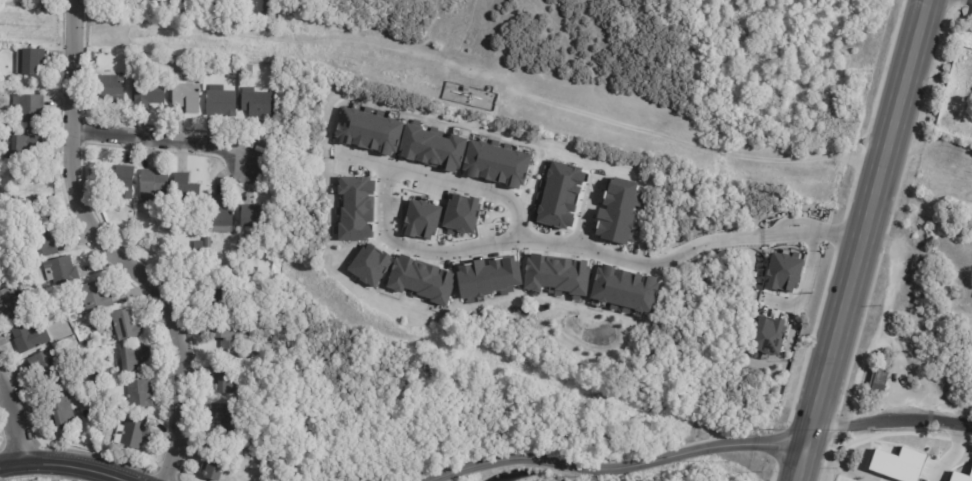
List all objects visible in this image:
building: (38, 6)
building: (228, 7)
building: (55, 8)
building: (131, 9)
building: (269, 9)
building: (172, 14)
building: (210, 16)
road: (464, 31)
road: (579, 55)
building: (29, 61)
building: (247, 70)
building: (232, 76)
building: (11, 79)
building: (110, 89)
building: (148, 91)
building: (186, 97)
building: (220, 101)
building: (257, 103)
building: (29, 107)
road: (605, 119)
building: (368, 130)
road: (164, 141)
building: (25, 147)
building: (431, 148)
road: (367, 158)
building: (496, 164)
building: (121, 181)
road: (471, 185)
building: (153, 186)
building: (559, 195)
building: (185, 196)
building: (356, 209)
building: (219, 212)
building: (616, 212)
road: (586, 213)
building: (461, 214)
building: (254, 219)
building: (421, 220)
road: (865, 240)
railway: (877, 240)
building: (208, 242)
building: (41, 244)
building: (198, 245)
building: (268, 247)
road: (691, 247)
road: (111, 249)
road: (416, 250)
building: (369, 265)
building: (213, 269)
building: (62, 270)
building: (782, 272)
building: (556, 275)
building: (487, 277)
building: (2, 278)
building: (419, 279)
building: (265, 282)
road: (805, 286)
building: (624, 289)
building: (94, 296)
building: (216, 299)
building: (266, 304)
building: (9, 305)
building: (124, 325)
building: (232, 335)
building: (767, 336)
building: (29, 338)
building: (971, 350)
building: (134, 358)
building: (45, 364)
building: (225, 379)
building: (879, 384)
building: (138, 395)
building: (64, 412)
building: (231, 418)
road: (893, 421)
road: (14, 422)
building: (132, 435)
road: (950, 454)
building: (213, 466)
road: (61, 469)
road: (626, 469)

